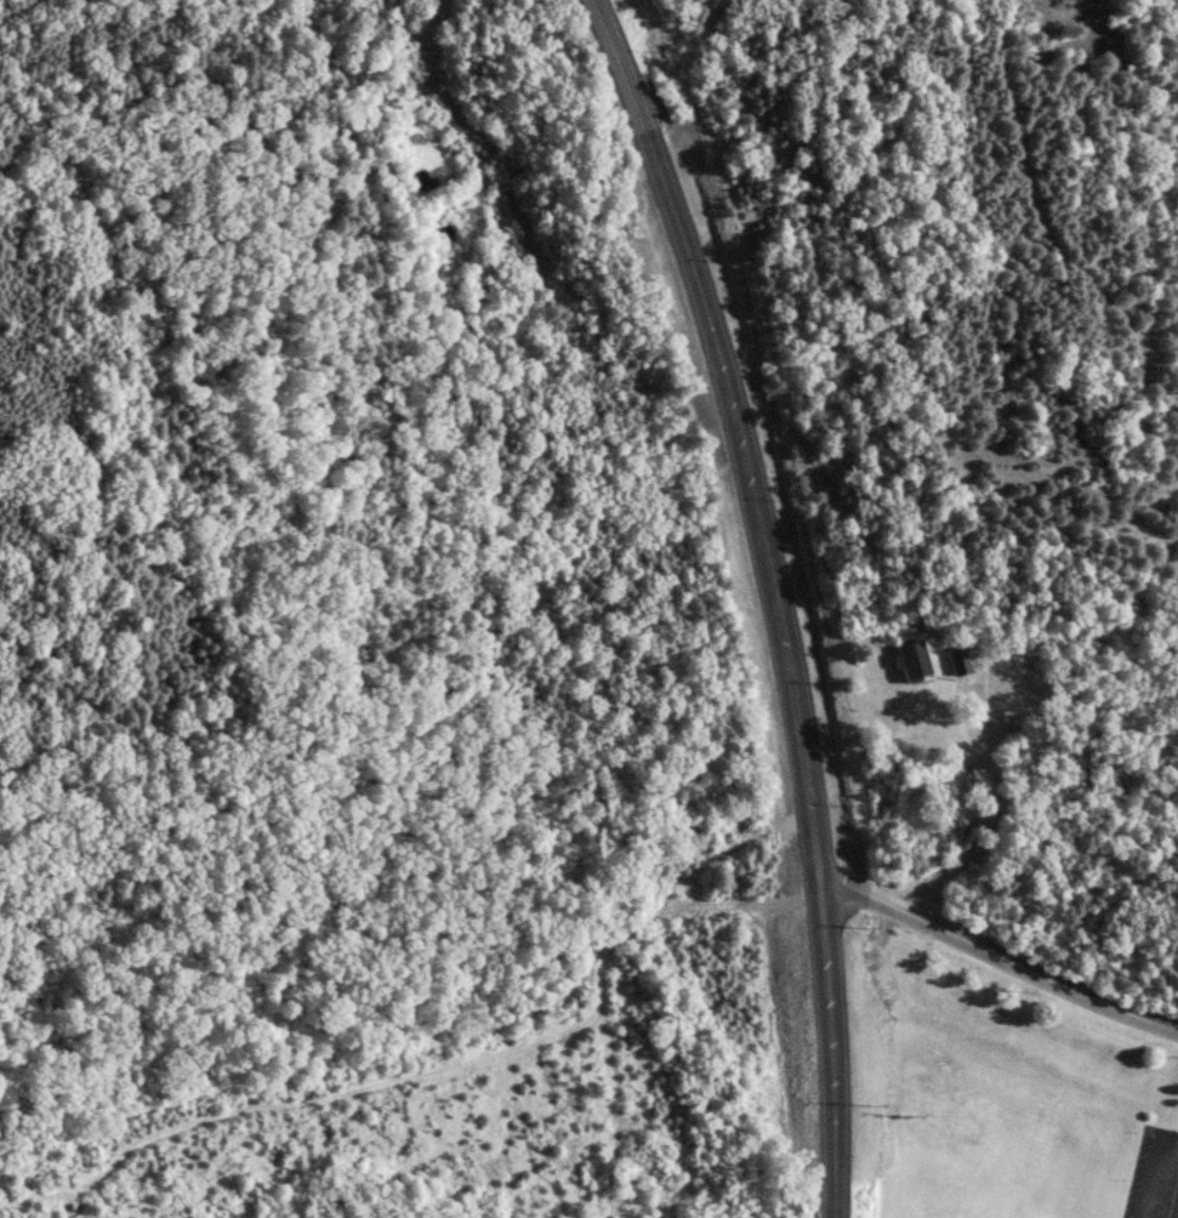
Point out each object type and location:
road: (775, 596)
building: (911, 660)
building: (958, 662)
road: (988, 826)
road: (1000, 955)
road: (1154, 1171)
parking lot: (1153, 1177)

